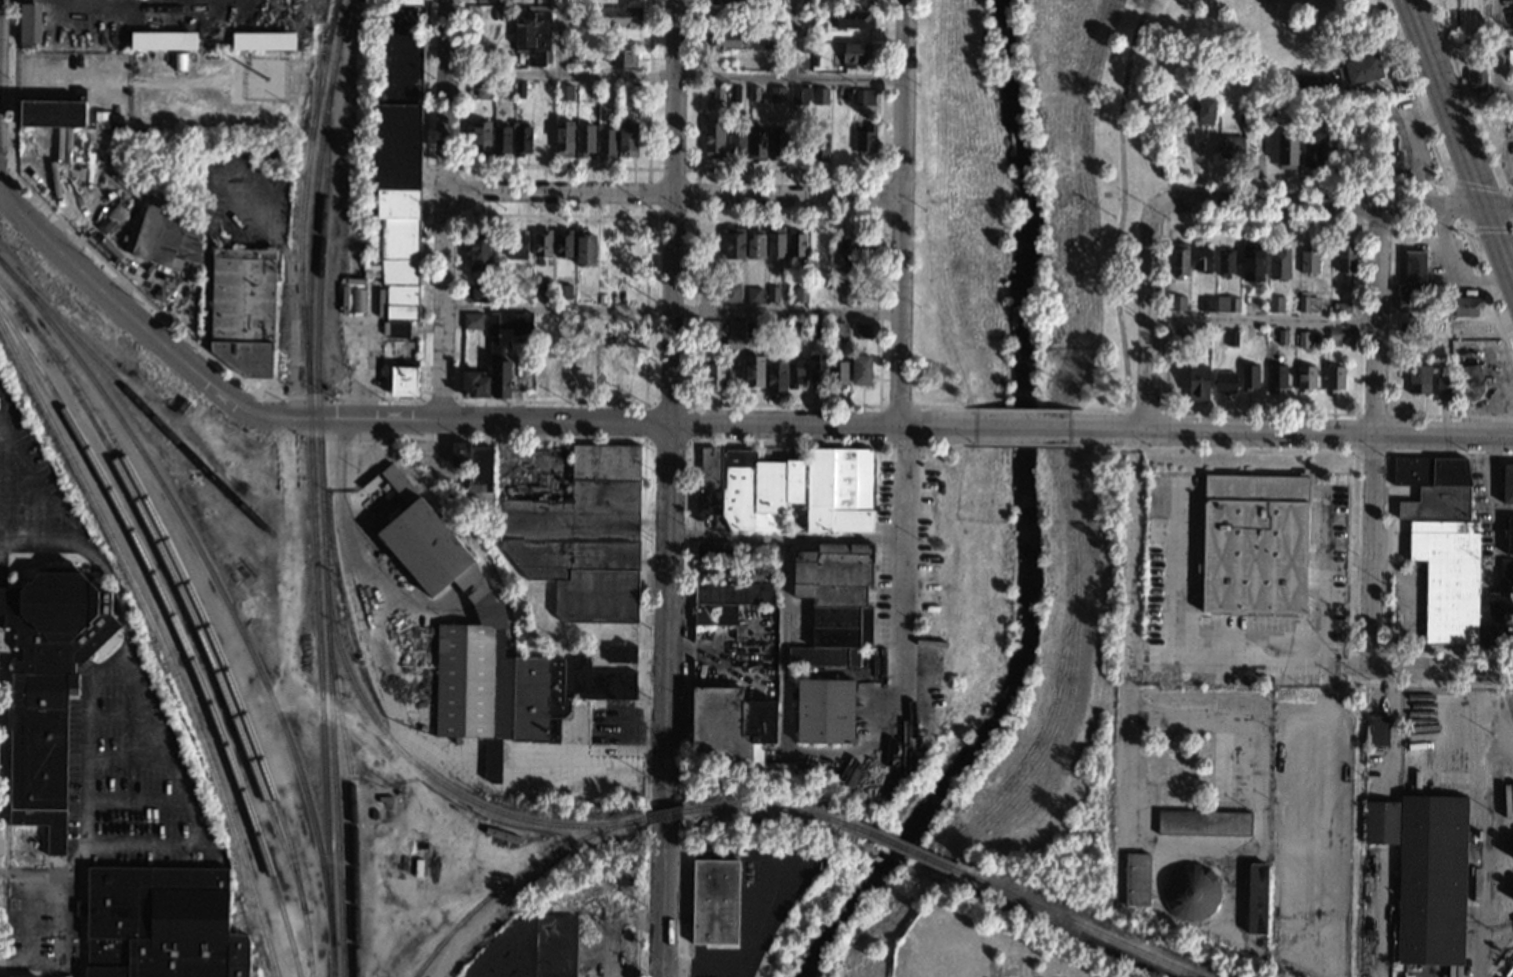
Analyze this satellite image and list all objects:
building: (495, 1)
building: (725, 2)
building: (773, 2)
building: (807, 4)
building: (225, 10)
park: (1461, 15)
building: (619, 17)
building: (854, 19)
building: (1512, 22)
building: (29, 25)
building: (569, 32)
building: (534, 34)
road: (555, 38)
building: (725, 39)
building: (162, 40)
road: (791, 40)
building: (263, 41)
building: (771, 41)
building: (808, 47)
building: (1477, 47)
building: (854, 54)
road: (1498, 56)
building: (574, 57)
building: (622, 58)
building: (815, 61)
railway: (316, 67)
building: (1361, 69)
building: (1476, 76)
road: (674, 78)
building: (1306, 82)
building: (507, 90)
building: (519, 90)
building: (483, 91)
building: (564, 92)
building: (754, 93)
building: (625, 94)
building: (718, 94)
building: (733, 94)
building: (777, 95)
building: (800, 95)
road: (673, 96)
building: (820, 96)
building: (864, 97)
road: (1466, 99)
building: (1266, 108)
building: (54, 111)
building: (1206, 111)
building: (1188, 113)
building: (1246, 114)
building: (101, 119)
building: (116, 122)
building: (482, 138)
building: (564, 138)
building: (501, 139)
building: (522, 139)
building: (585, 139)
building: (627, 140)
building: (714, 140)
building: (865, 140)
building: (136, 141)
building: (607, 143)
building: (737, 144)
building: (756, 144)
building: (819, 145)
road: (1460, 145)
building: (54, 146)
building: (68, 146)
building: (777, 146)
building: (1231, 147)
park: (1136, 148)
building: (1311, 148)
building: (1288, 153)
building: (1390, 155)
building: (399, 161)
road: (7, 168)
road: (555, 168)
road: (648, 168)
road: (790, 169)
road: (1400, 180)
road: (1477, 185)
railway: (303, 191)
road: (462, 191)
road: (672, 193)
road: (1511, 194)
road: (882, 195)
road: (1122, 202)
road: (1167, 204)
road: (1455, 204)
road: (1276, 205)
road: (1445, 208)
road: (443, 210)
park: (967, 211)
road: (647, 216)
building: (111, 217)
road: (881, 219)
road: (1194, 222)
road: (1488, 228)
building: (166, 235)
building: (734, 243)
building: (776, 243)
building: (543, 244)
building: (564, 244)
building: (755, 245)
building: (517, 246)
building: (797, 246)
building: (479, 247)
building: (584, 248)
building: (840, 251)
building: (863, 253)
building: (1179, 259)
building: (1346, 259)
building: (1203, 260)
building: (1309, 260)
building: (540, 262)
building: (1252, 262)
building: (1226, 263)
building: (1279, 263)
building: (1413, 274)
building: (541, 288)
building: (562, 291)
building: (845, 292)
building: (479, 293)
building: (731, 293)
building: (160, 294)
building: (772, 294)
building: (801, 294)
building: (754, 295)
building: (818, 295)
building: (858, 295)
building: (344, 298)
building: (357, 300)
building: (601, 300)
building: (1178, 303)
building: (1308, 303)
building: (1207, 304)
building: (1227, 304)
building: (1275, 304)
building: (1411, 304)
building: (1464, 306)
road: (670, 307)
building: (1342, 308)
building: (243, 309)
road: (1150, 309)
road: (670, 312)
road: (1263, 320)
building: (472, 321)
building: (1405, 325)
building: (539, 326)
building: (753, 328)
building: (781, 328)
building: (793, 328)
building: (1472, 328)
building: (816, 329)
building: (838, 330)
building: (863, 331)
building: (734, 335)
building: (1186, 336)
building: (1282, 337)
building: (1335, 337)
building: (1232, 338)
building: (1303, 340)
building: (504, 347)
building: (817, 368)
building: (860, 369)
road: (901, 371)
building: (754, 372)
building: (795, 373)
building: (838, 374)
building: (712, 376)
building: (777, 377)
building: (1249, 378)
building: (1277, 378)
building: (1305, 378)
building: (1333, 379)
building: (1418, 379)
building: (404, 381)
building: (1471, 382)
road: (518, 383)
building: (1198, 383)
building: (1225, 383)
building: (474, 385)
building: (1444, 385)
road: (286, 397)
railway: (136, 400)
road: (459, 400)
road: (692, 402)
road: (914, 404)
road: (947, 404)
road: (1097, 407)
road: (1143, 408)
road: (1023, 409)
road: (1391, 414)
road: (1452, 414)
road: (292, 418)
road: (822, 425)
road: (1022, 427)
road: (1106, 427)
road: (1330, 431)
road: (1377, 439)
road: (1022, 442)
road: (948, 445)
road: (19, 455)
railway: (312, 469)
building: (474, 482)
building: (1507, 483)
road: (691, 485)
building: (1434, 487)
building: (749, 490)
building: (839, 490)
road: (1354, 502)
road: (38, 515)
river: (1024, 522)
road: (877, 526)
railway: (323, 532)
building: (1509, 536)
building: (583, 537)
road: (842, 537)
road: (20, 543)
building: (1254, 543)
building: (713, 551)
building: (1155, 552)
road: (1388, 552)
road: (290, 554)
building: (716, 570)
road: (110, 579)
building: (1448, 579)
road: (1322, 581)
railway: (178, 587)
railway: (223, 594)
park: (961, 600)
building: (730, 601)
building: (834, 601)
building: (1155, 604)
road: (641, 607)
road: (214, 608)
building: (1501, 608)
railway: (205, 623)
railway: (178, 630)
railway: (160, 641)
road: (784, 645)
building: (486, 647)
road: (1368, 647)
building: (621, 653)
road: (1184, 666)
road: (1442, 671)
building: (414, 683)
building: (48, 686)
road: (665, 699)
park: (1059, 700)
building: (825, 711)
road: (1244, 719)
road: (356, 726)
building: (732, 726)
building: (1377, 731)
road: (156, 739)
railway: (425, 771)
building: (1166, 771)
railway: (351, 800)
building: (441, 802)
road: (2, 803)
railway: (760, 806)
railway: (663, 815)
building: (1203, 822)
building: (1381, 822)
road: (1484, 824)
railway: (896, 847)
building: (417, 870)
building: (624, 874)
road: (22, 876)
railway: (514, 878)
building: (1137, 880)
building: (1431, 880)
building: (1191, 893)
road: (762, 896)
building: (1256, 899)
building: (714, 902)
road: (45, 918)
road: (391, 922)
building: (162, 923)
railway: (1073, 924)
building: (529, 949)
road: (736, 968)
building: (24, 976)

